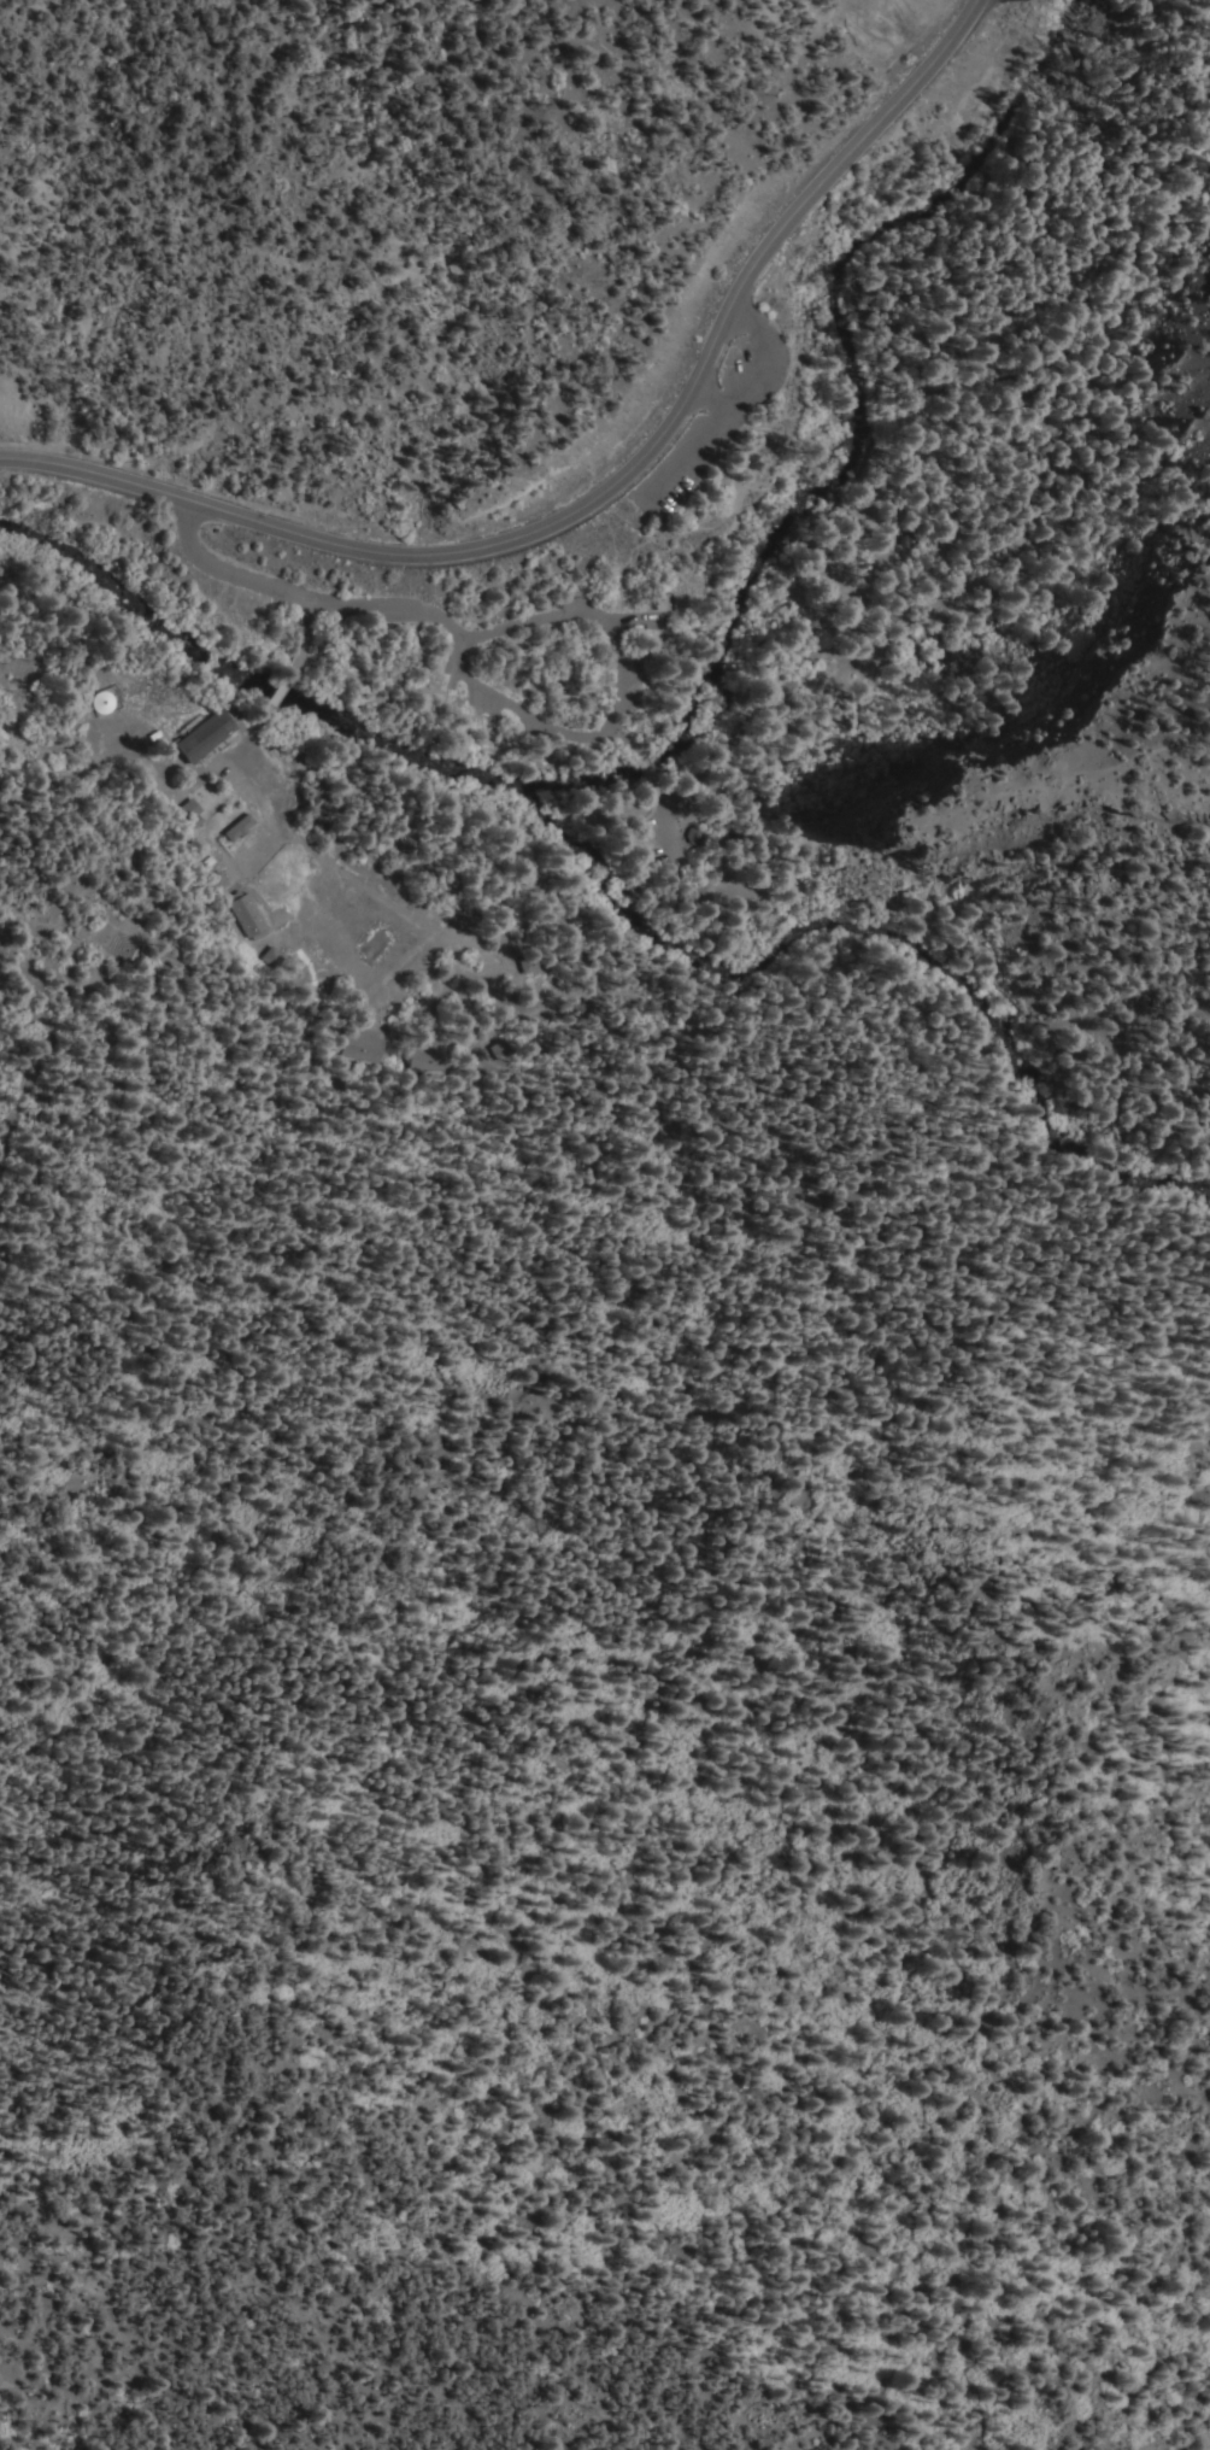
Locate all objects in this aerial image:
road: (739, 313)
road: (697, 388)
road: (715, 402)
parking lot: (724, 410)
road: (717, 417)
road: (597, 492)
road: (217, 568)
road: (710, 591)
road: (377, 609)
road: (804, 619)
road: (296, 627)
road: (281, 679)
building: (94, 701)
storage tank: (94, 701)
road: (623, 711)
road: (257, 723)
road: (630, 734)
building: (196, 737)
road: (640, 762)
road: (663, 820)
building: (235, 828)
building: (218, 883)
building: (247, 918)
building: (523, 963)
road: (965, 974)
building: (360, 1045)
road: (1132, 1057)

